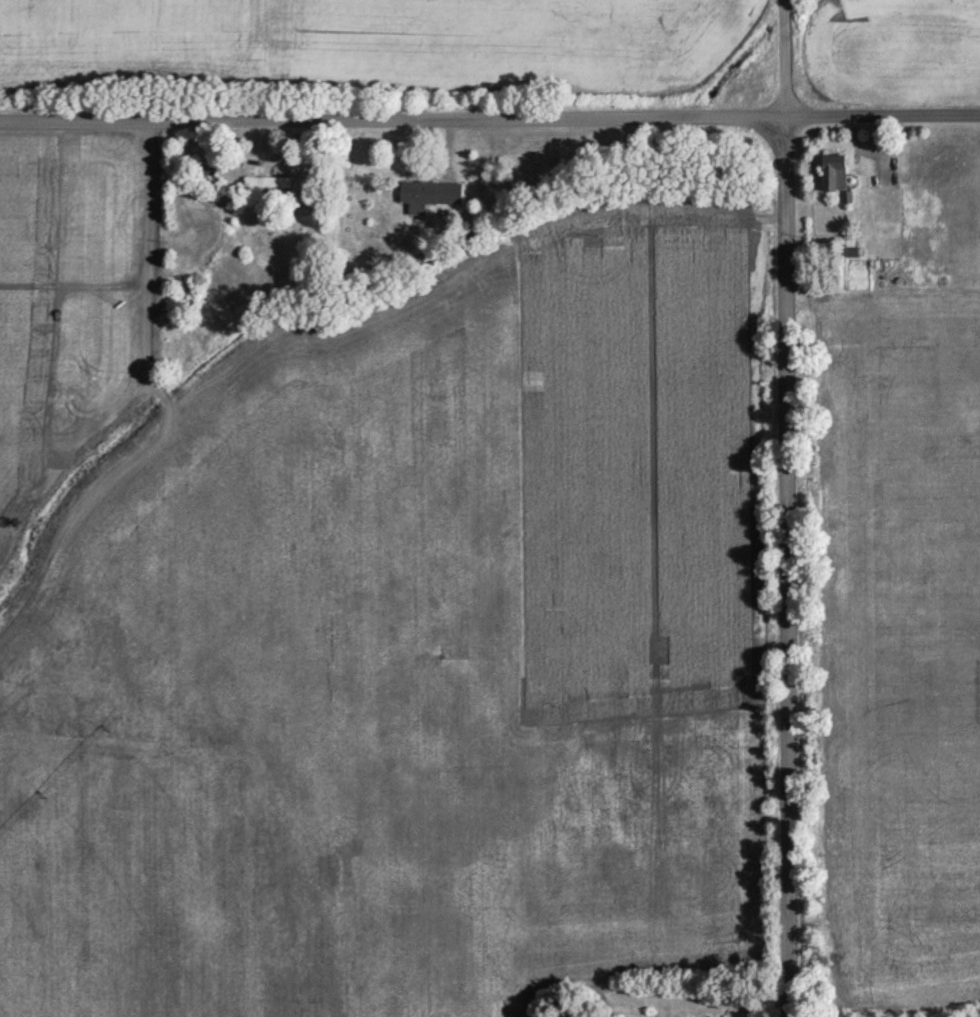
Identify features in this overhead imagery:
road: (489, 120)
building: (835, 176)
building: (210, 182)
building: (267, 185)
building: (429, 197)
road: (781, 508)

